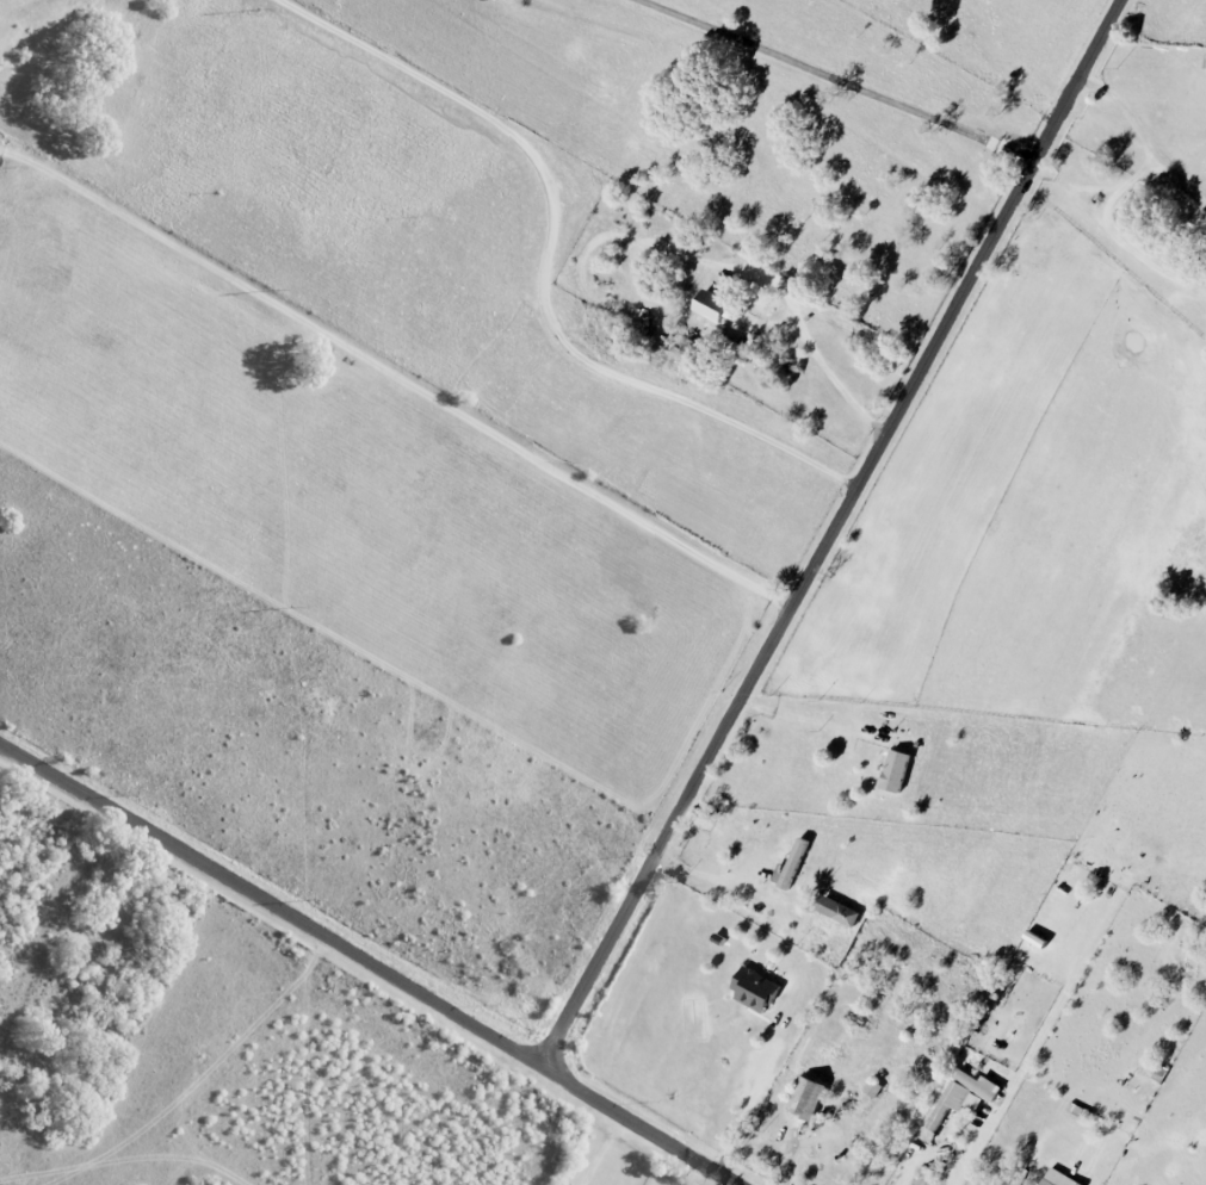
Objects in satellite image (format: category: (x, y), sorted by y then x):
power tower: (265, 6)
building: (1205, 62)
road: (839, 79)
road: (1139, 143)
road: (1144, 166)
road: (1128, 248)
road: (546, 259)
power tower: (279, 287)
building: (709, 305)
road: (808, 336)
building: (726, 347)
road: (396, 374)
road: (831, 531)
power tower: (297, 607)
road: (814, 722)
building: (895, 771)
building: (793, 863)
power tower: (316, 895)
building: (837, 911)
road: (375, 960)
building: (753, 988)
road: (1020, 1073)
building: (961, 1093)
building: (806, 1097)
road: (744, 1104)
road: (933, 1147)
building: (1057, 1178)

